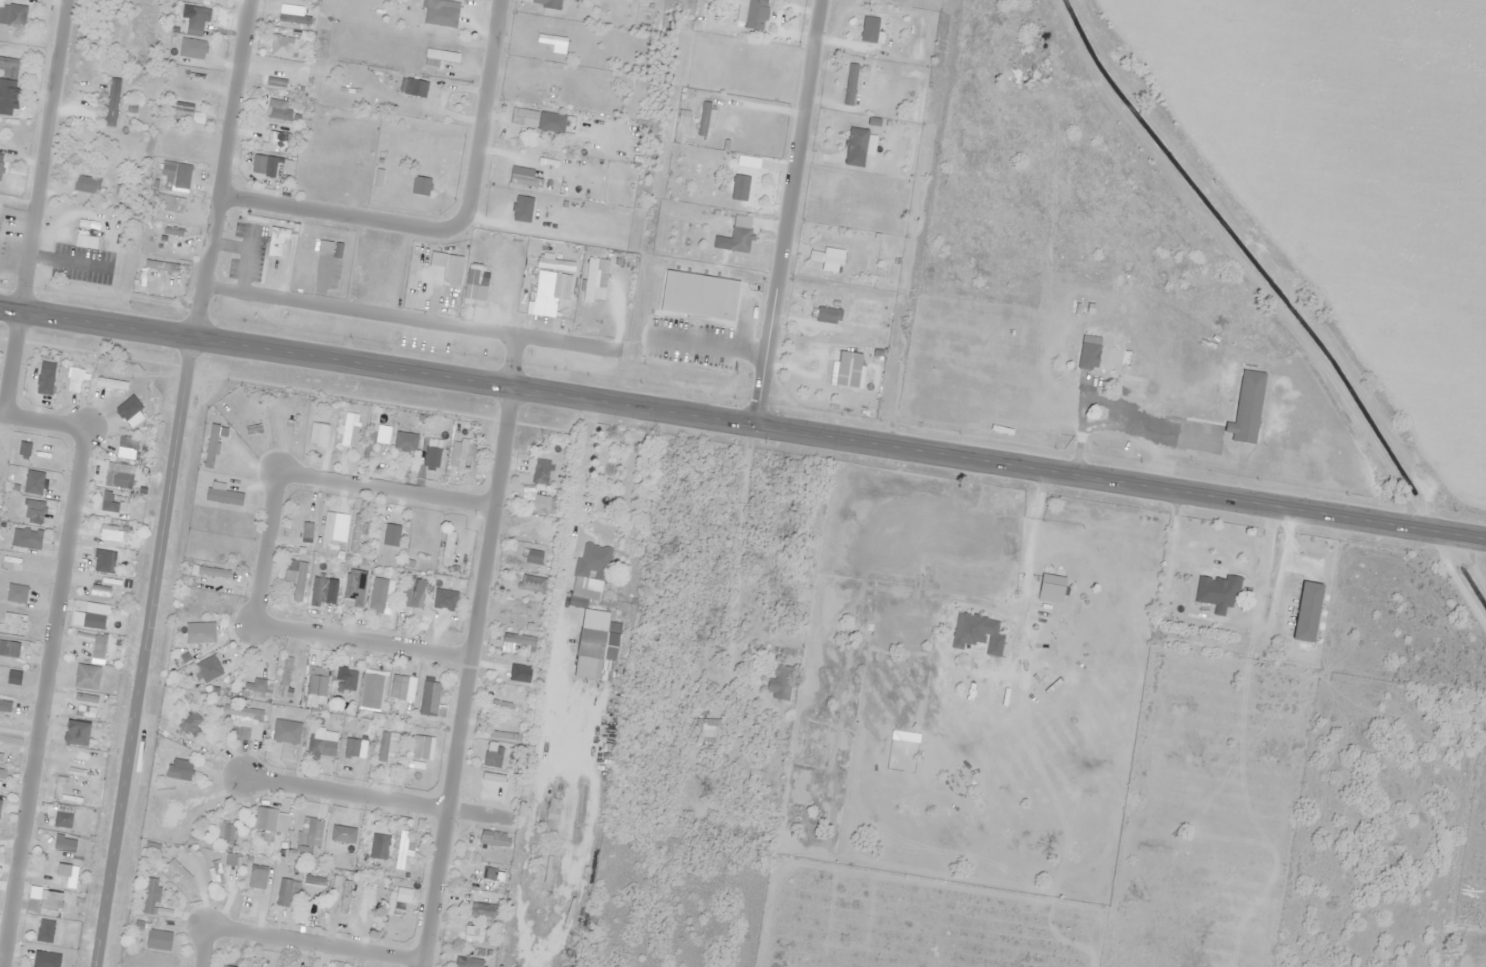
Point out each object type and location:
building: (451, 3)
building: (756, 3)
building: (551, 4)
building: (12, 15)
building: (122, 32)
building: (550, 39)
building: (441, 54)
building: (9, 67)
building: (275, 81)
road: (228, 98)
building: (184, 111)
building: (110, 113)
building: (523, 116)
building: (704, 117)
building: (856, 140)
building: (0, 161)
building: (257, 163)
building: (525, 180)
building: (87, 184)
building: (739, 187)
building: (527, 203)
road: (34, 205)
road: (784, 212)
road: (448, 230)
building: (738, 239)
building: (275, 242)
building: (831, 259)
building: (452, 269)
building: (589, 279)
building: (828, 315)
road: (408, 317)
building: (1108, 357)
building: (847, 370)
building: (1246, 407)
road: (2, 411)
road: (743, 423)
building: (317, 434)
building: (400, 441)
building: (381, 442)
building: (438, 450)
building: (557, 450)
building: (217, 453)
building: (460, 455)
building: (539, 471)
road: (382, 488)
building: (537, 528)
building: (383, 538)
building: (419, 542)
road: (262, 548)
building: (592, 562)
building: (295, 577)
road: (153, 581)
building: (517, 584)
building: (1179, 587)
building: (1050, 588)
building: (320, 589)
building: (1216, 593)
building: (388, 595)
building: (416, 600)
building: (576, 600)
building: (446, 604)
building: (1306, 612)
building: (518, 613)
building: (976, 633)
building: (197, 637)
road: (358, 641)
building: (596, 646)
road: (468, 650)
road: (47, 659)
building: (778, 682)
building: (397, 686)
building: (370, 691)
building: (428, 698)
building: (191, 722)
building: (254, 728)
building: (704, 730)
building: (316, 743)
building: (350, 747)
building: (386, 747)
building: (415, 751)
building: (491, 759)
building: (496, 780)
road: (341, 792)
building: (553, 813)
building: (342, 834)
building: (493, 840)
building: (405, 841)
building: (366, 846)
building: (179, 870)
building: (257, 870)
building: (216, 873)
building: (491, 874)
building: (314, 876)
building: (371, 891)
building: (283, 892)
building: (150, 896)
building: (346, 899)
building: (483, 906)
building: (484, 941)
road: (312, 942)
road: (200, 946)
building: (466, 962)

